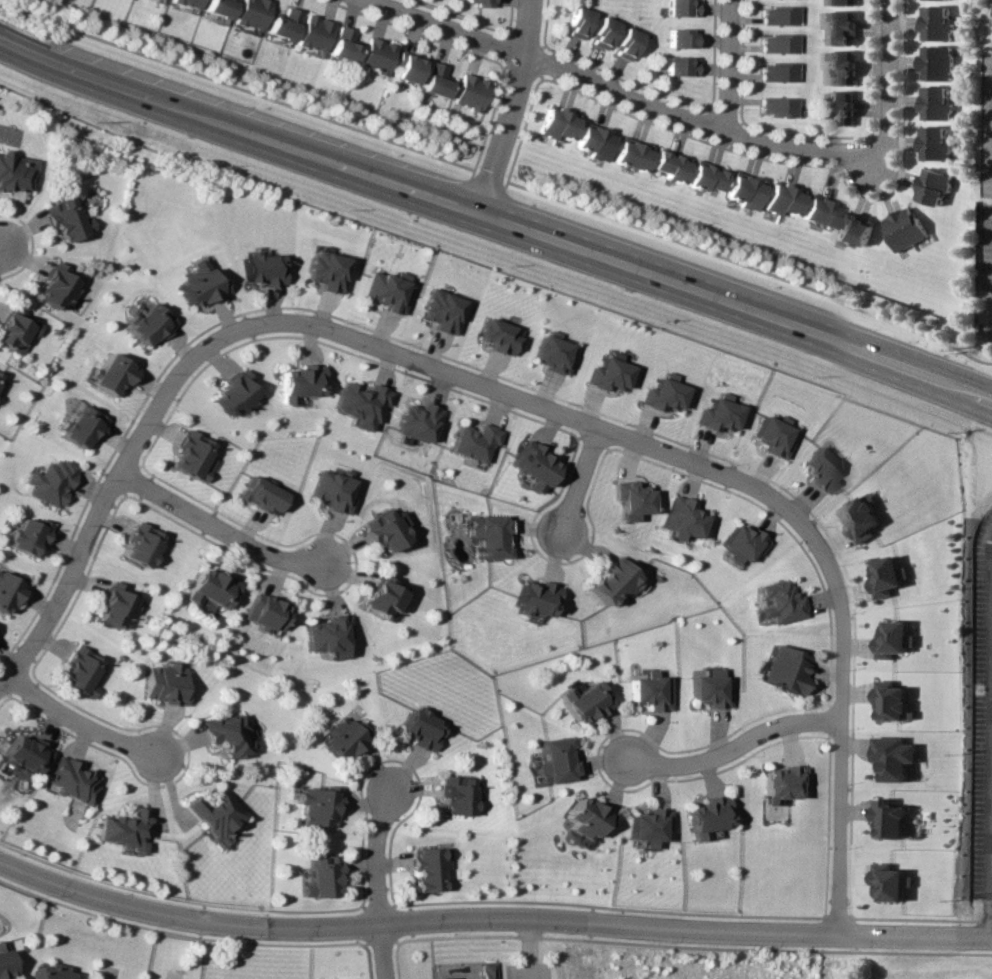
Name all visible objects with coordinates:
building: (949, 0)
building: (845, 2)
building: (186, 3)
building: (479, 3)
building: (217, 7)
building: (678, 8)
building: (249, 13)
building: (776, 15)
building: (280, 23)
building: (575, 23)
building: (939, 23)
building: (843, 27)
building: (600, 32)
building: (311, 33)
building: (678, 38)
building: (624, 42)
building: (775, 43)
building: (341, 44)
building: (373, 55)
building: (939, 62)
building: (677, 66)
road: (722, 66)
building: (406, 67)
building: (842, 67)
building: (775, 72)
road: (889, 75)
building: (434, 80)
building: (468, 92)
road: (624, 95)
building: (938, 103)
road: (506, 105)
building: (775, 106)
building: (840, 107)
building: (556, 123)
building: (592, 141)
building: (936, 143)
building: (630, 154)
building: (668, 164)
building: (16, 172)
building: (705, 176)
building: (934, 186)
building: (742, 190)
building: (780, 198)
building: (819, 210)
road: (496, 218)
building: (66, 219)
building: (904, 228)
building: (854, 229)
building: (260, 268)
building: (324, 270)
building: (199, 286)
building: (56, 287)
building: (383, 291)
building: (438, 310)
building: (148, 324)
building: (16, 329)
building: (494, 335)
building: (548, 352)
building: (607, 372)
building: (0, 374)
building: (112, 374)
building: (234, 394)
building: (660, 394)
road: (524, 402)
building: (359, 404)
building: (717, 414)
building: (414, 421)
building: (82, 426)
building: (772, 435)
building: (471, 442)
building: (192, 455)
building: (529, 465)
building: (820, 469)
building: (51, 482)
road: (581, 482)
building: (331, 490)
building: (260, 494)
building: (629, 500)
building: (679, 518)
building: (863, 518)
road: (211, 526)
building: (383, 530)
building: (485, 535)
building: (29, 536)
building: (143, 544)
building: (741, 544)
building: (889, 576)
building: (609, 581)
building: (213, 587)
building: (10, 591)
building: (381, 596)
building: (531, 598)
building: (778, 602)
building: (117, 606)
building: (263, 612)
building: (326, 635)
building: (896, 639)
building: (782, 668)
building: (81, 671)
building: (165, 683)
building: (708, 688)
building: (649, 691)
building: (583, 700)
building: (895, 701)
road: (74, 723)
building: (422, 728)
building: (224, 734)
building: (341, 739)
road: (734, 750)
building: (24, 755)
building: (896, 757)
building: (555, 759)
building: (70, 780)
building: (778, 783)
building: (460, 794)
building: (317, 806)
building: (211, 813)
building: (706, 816)
building: (585, 817)
building: (891, 818)
building: (646, 826)
building: (121, 829)
road: (990, 863)
building: (430, 867)
building: (320, 876)
building: (891, 882)
road: (381, 883)
road: (491, 930)
building: (488, 970)
building: (51, 971)

